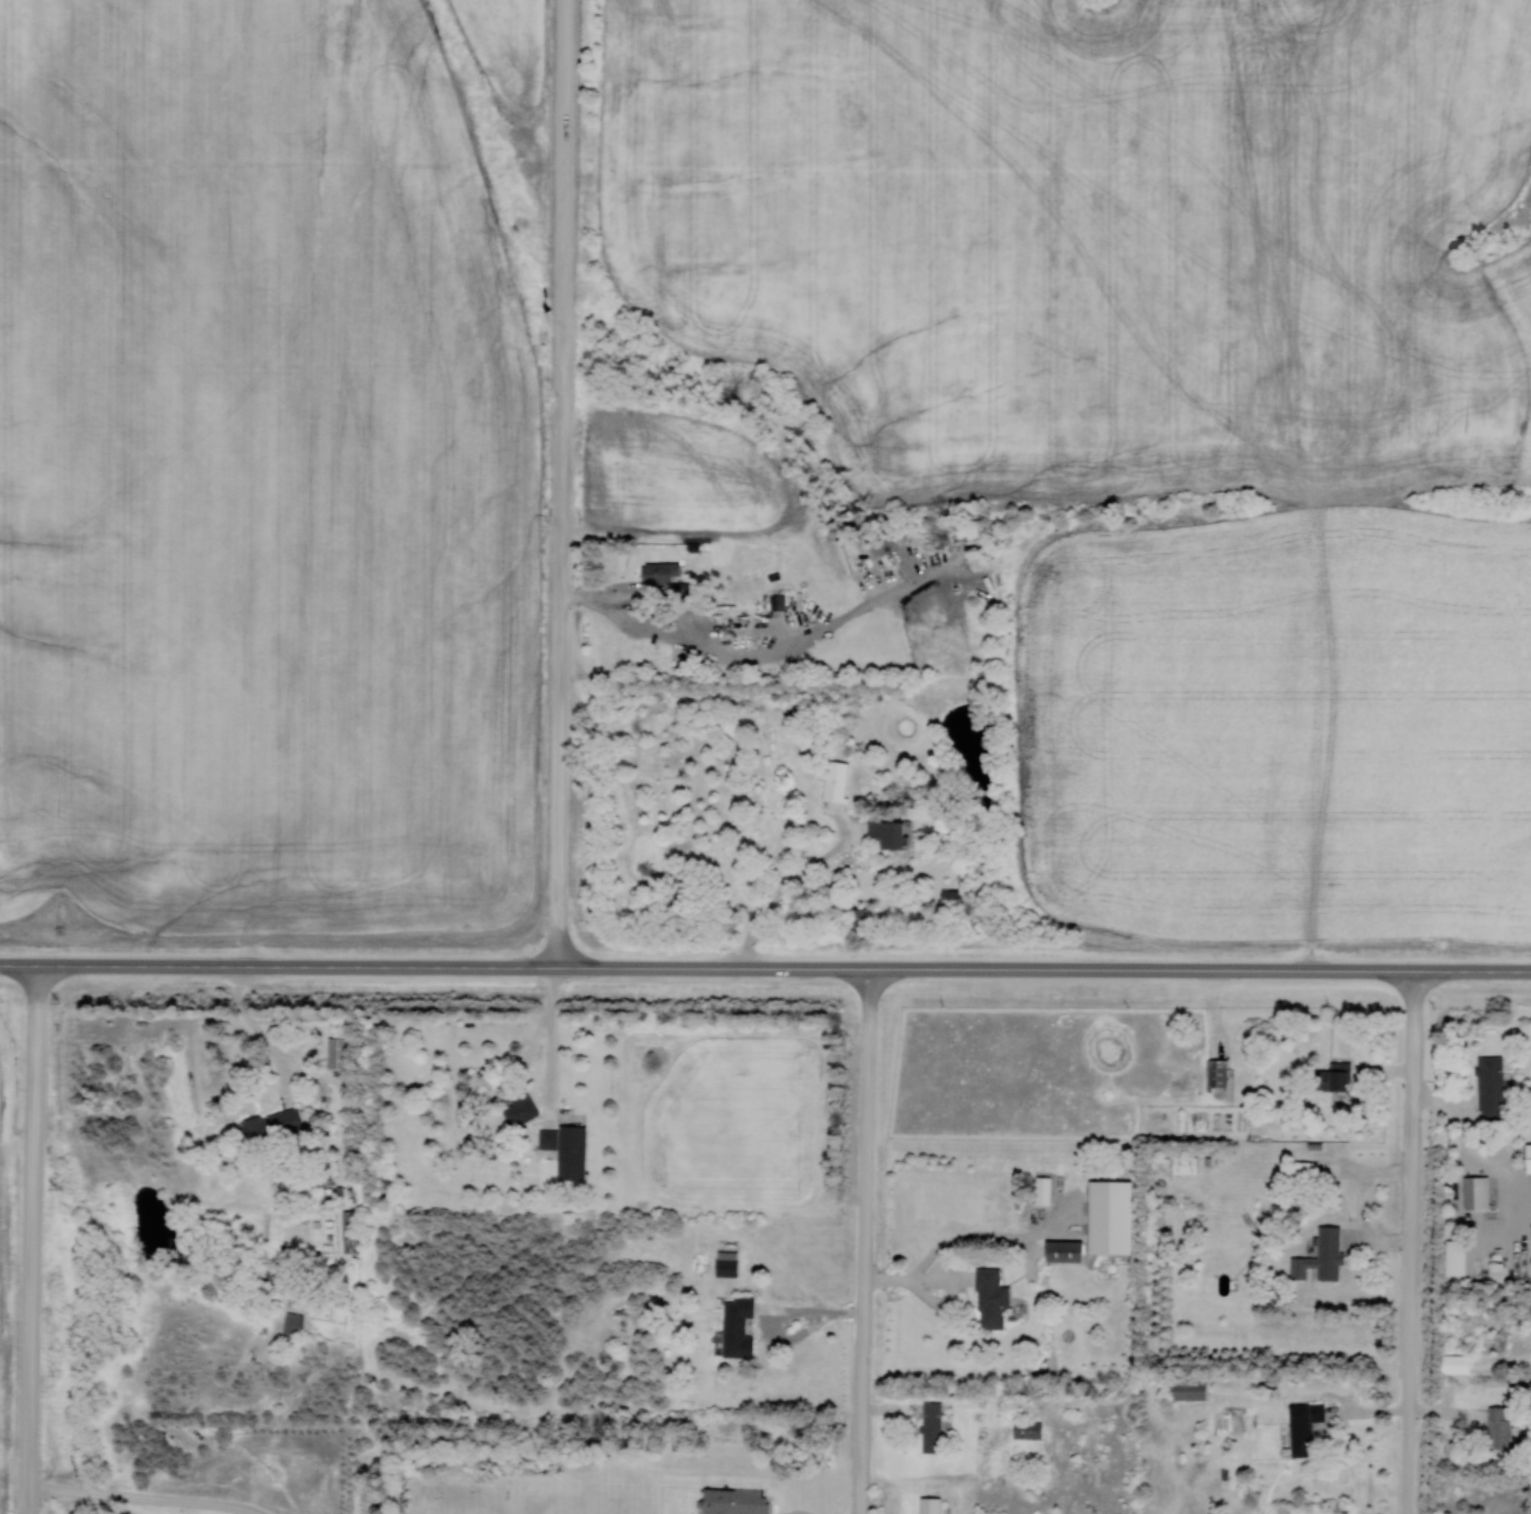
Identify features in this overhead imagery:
road: (562, 482)
building: (661, 572)
building: (684, 589)
building: (777, 602)
building: (732, 624)
building: (835, 781)
building: (889, 834)
building: (951, 902)
building: (858, 919)
road: (17, 964)
road: (297, 965)
road: (1044, 969)
building: (338, 1053)
building: (1218, 1074)
building: (1334, 1076)
building: (1490, 1088)
building: (520, 1110)
building: (273, 1125)
building: (566, 1149)
building: (1528, 1157)
building: (1184, 1164)
building: (1303, 1175)
building: (1476, 1192)
building: (350, 1230)
road: (30, 1239)
road: (866, 1241)
road: (1410, 1242)
building: (1064, 1251)
building: (1327, 1253)
building: (1455, 1257)
building: (725, 1262)
building: (991, 1300)
building: (292, 1324)
building: (737, 1327)
building: (1187, 1389)
building: (931, 1426)
building: (1304, 1427)
building: (1499, 1427)
building: (1027, 1429)
building: (732, 1500)
building: (930, 1505)

